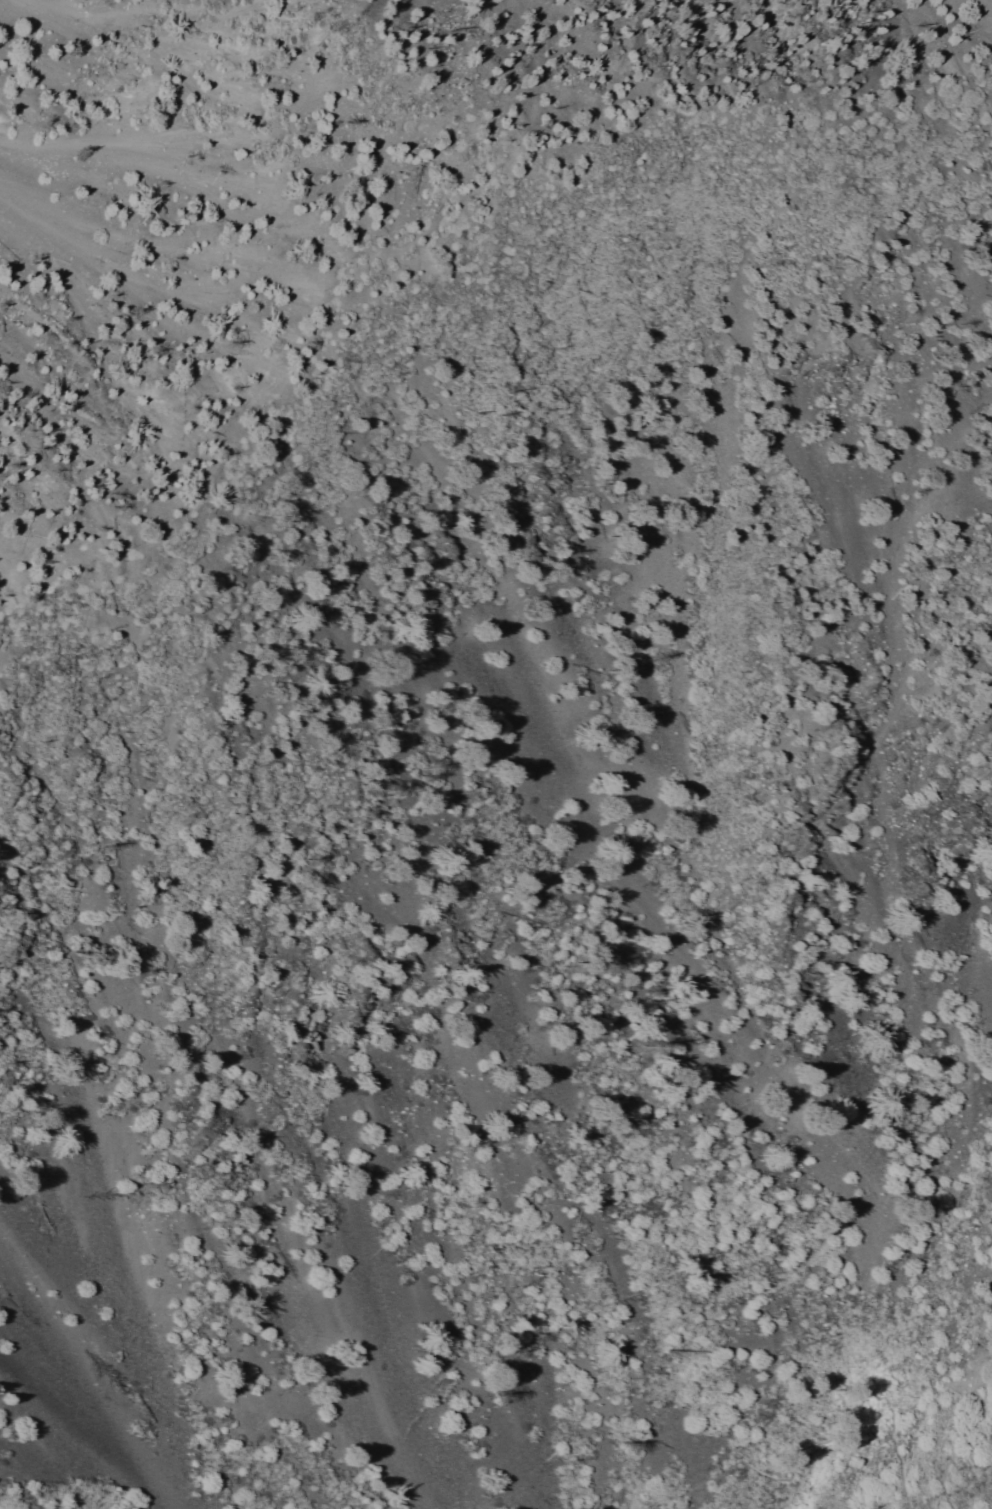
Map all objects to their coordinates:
road: (964, 1414)
road: (832, 1434)

